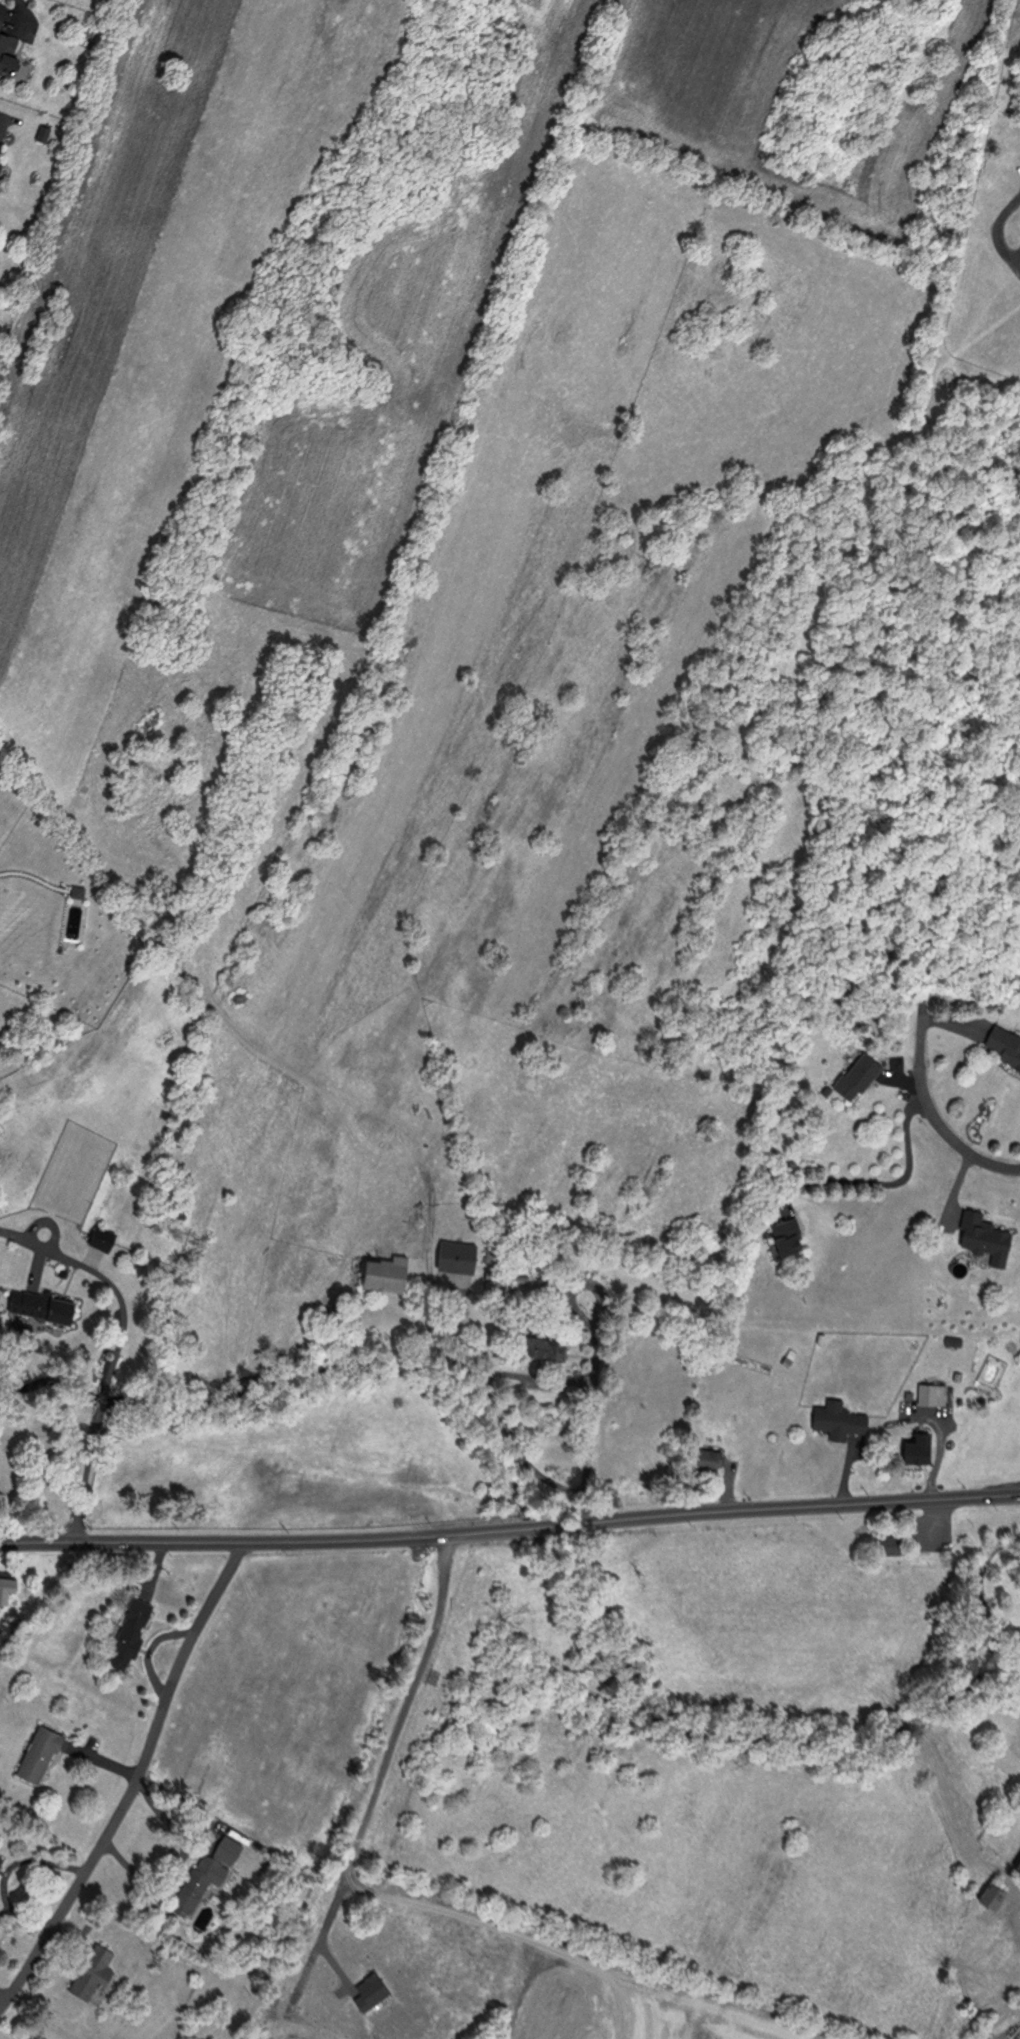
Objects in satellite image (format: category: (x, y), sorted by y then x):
road: (16, 6)
building: (1, 11)
building: (6, 51)
road: (994, 238)
building: (1005, 1045)
building: (856, 1075)
road: (933, 1114)
road: (887, 1184)
building: (785, 1235)
building: (100, 1237)
building: (455, 1255)
building: (383, 1272)
road: (74, 1298)
building: (36, 1304)
building: (542, 1346)
building: (931, 1393)
road: (100, 1408)
building: (839, 1421)
building: (915, 1448)
building: (708, 1457)
road: (85, 1481)
road: (788, 1505)
road: (548, 1524)
road: (269, 1539)
building: (129, 1632)
building: (37, 1753)
road: (379, 1771)
road: (136, 1780)
building: (0, 1858)
building: (1018, 1867)
building: (205, 1872)
building: (991, 1894)
building: (91, 1973)

